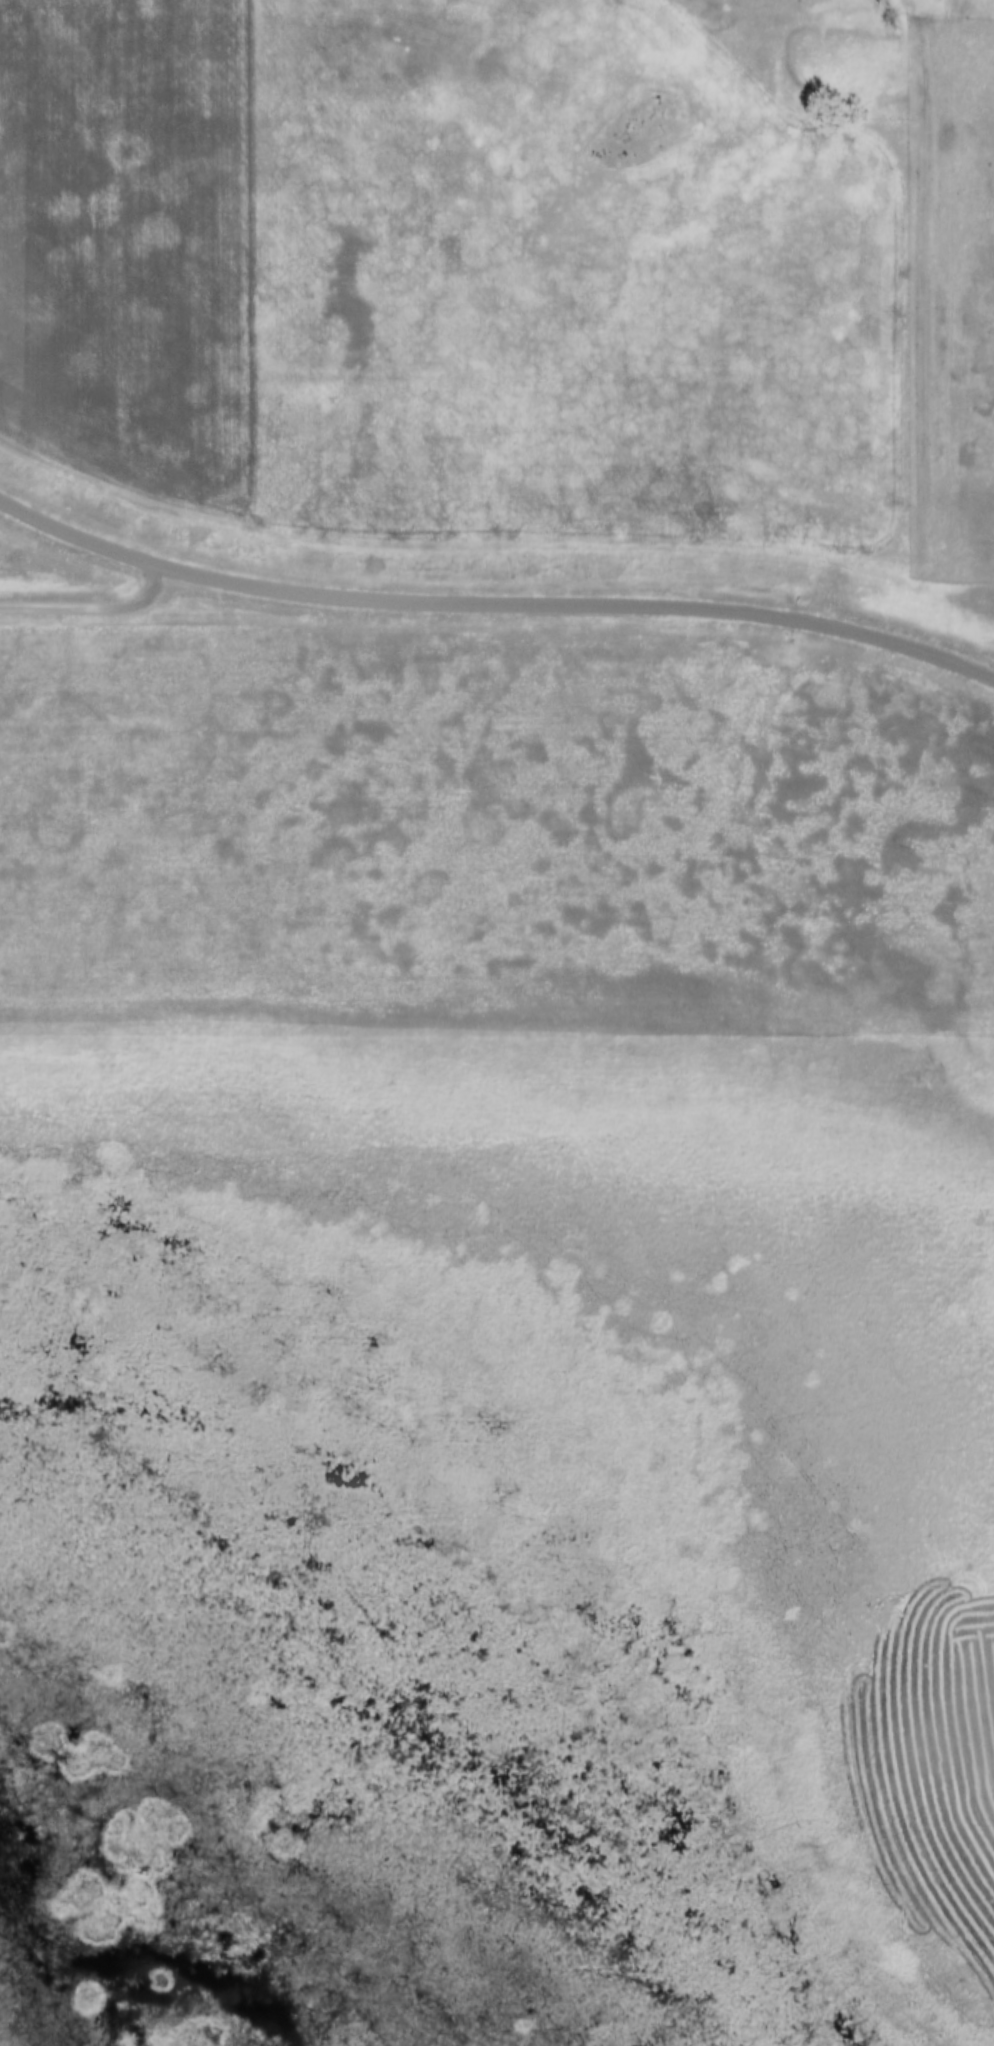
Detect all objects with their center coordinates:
road: (76, 536)
road: (580, 600)
road: (92, 605)

